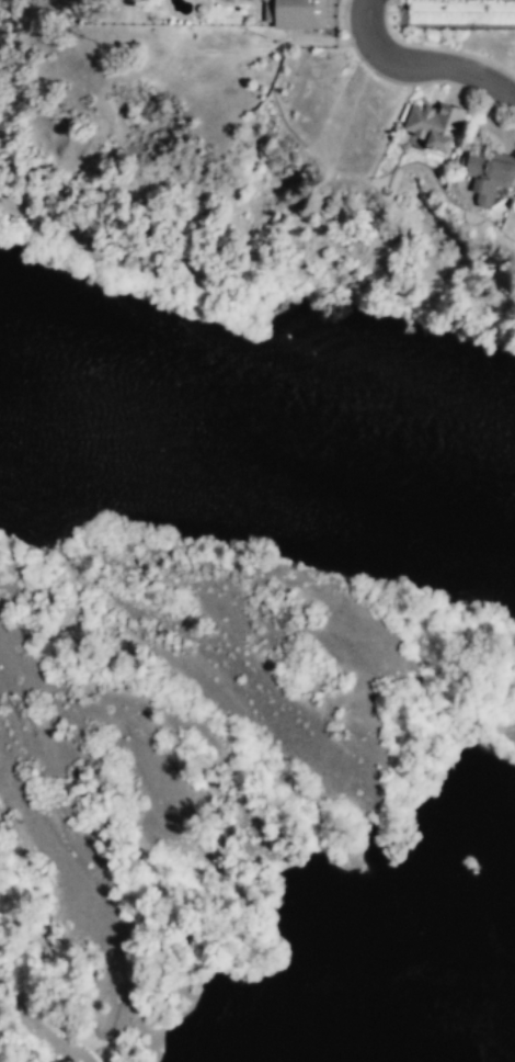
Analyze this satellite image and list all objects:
building: (293, 13)
road: (423, 64)
building: (431, 127)
building: (489, 176)
river: (257, 430)

